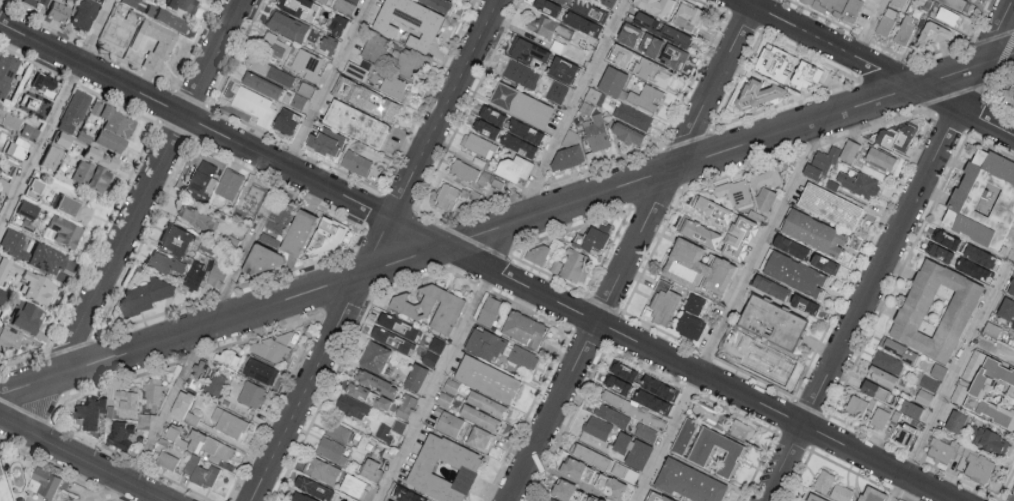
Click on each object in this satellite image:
building: (355, 0)
building: (323, 1)
building: (559, 1)
building: (34, 2)
building: (607, 2)
building: (954, 3)
building: (181, 5)
building: (440, 5)
building: (580, 5)
building: (547, 6)
building: (655, 6)
building: (299, 7)
building: (835, 7)
building: (122, 8)
building: (54, 11)
building: (81, 14)
building: (947, 15)
building: (602, 16)
building: (688, 16)
building: (409, 21)
building: (581, 23)
building: (337, 24)
building: (886, 24)
building: (287, 25)
building: (541, 25)
building: (660, 28)
road: (867, 28)
building: (905, 32)
building: (114, 34)
building: (628, 34)
building: (934, 35)
building: (162, 44)
building: (649, 44)
building: (276, 45)
building: (327, 45)
building: (374, 47)
building: (527, 51)
building: (619, 55)
building: (673, 56)
building: (407, 63)
building: (776, 63)
building: (308, 64)
road: (877, 68)
building: (562, 69)
building: (6, 70)
building: (652, 72)
building: (521, 73)
building: (807, 76)
building: (613, 82)
building: (260, 84)
building: (42, 85)
building: (392, 86)
building: (305, 88)
building: (556, 91)
building: (757, 95)
building: (1010, 97)
building: (366, 99)
building: (644, 99)
building: (298, 101)
building: (254, 104)
building: (520, 104)
building: (36, 107)
building: (95, 109)
building: (72, 111)
road: (57, 117)
building: (633, 117)
building: (3, 118)
building: (286, 120)
building: (117, 123)
building: (355, 123)
building: (486, 128)
building: (515, 132)
building: (597, 135)
building: (628, 135)
building: (896, 137)
building: (58, 140)
building: (23, 141)
building: (108, 141)
building: (325, 143)
building: (480, 145)
building: (850, 152)
building: (569, 153)
building: (48, 158)
building: (98, 159)
building: (881, 160)
building: (355, 162)
building: (821, 164)
building: (7, 168)
building: (515, 170)
building: (465, 172)
building: (203, 177)
building: (90, 178)
building: (766, 180)
building: (229, 183)
building: (859, 183)
building: (3, 186)
building: (31, 189)
building: (736, 194)
building: (251, 198)
building: (453, 198)
building: (984, 201)
building: (831, 208)
building: (27, 210)
building: (71, 210)
building: (723, 214)
building: (197, 217)
road: (140, 218)
road: (506, 225)
building: (704, 229)
building: (61, 232)
building: (815, 233)
building: (300, 234)
building: (329, 235)
building: (347, 236)
building: (597, 238)
building: (174, 239)
building: (12, 244)
building: (789, 246)
building: (942, 246)
building: (741, 249)
road: (375, 250)
road: (501, 250)
road: (634, 251)
road: (890, 252)
building: (538, 255)
building: (978, 255)
building: (42, 260)
building: (262, 261)
road: (475, 262)
building: (165, 263)
building: (823, 263)
road: (239, 264)
building: (7, 267)
building: (575, 268)
building: (697, 268)
building: (796, 274)
building: (194, 276)
building: (218, 276)
building: (769, 287)
building: (33, 288)
building: (1011, 288)
building: (0, 294)
building: (145, 296)
building: (664, 304)
building: (694, 304)
building: (804, 304)
building: (1006, 308)
building: (432, 309)
road: (728, 310)
building: (488, 311)
building: (937, 311)
building: (25, 318)
building: (772, 322)
building: (690, 326)
building: (523, 328)
building: (388, 331)
building: (11, 343)
building: (484, 343)
building: (276, 347)
building: (899, 350)
building: (433, 351)
building: (376, 357)
building: (523, 357)
building: (228, 359)
building: (886, 361)
building: (938, 370)
building: (260, 372)
road: (952, 374)
building: (967, 375)
building: (415, 377)
building: (620, 377)
building: (881, 377)
building: (486, 378)
building: (375, 382)
building: (929, 382)
building: (215, 383)
building: (450, 385)
building: (657, 388)
building: (873, 390)
building: (992, 392)
building: (154, 393)
building: (251, 394)
building: (923, 396)
building: (444, 399)
building: (615, 399)
building: (360, 400)
building: (651, 401)
building: (128, 403)
building: (180, 403)
building: (486, 403)
building: (405, 406)
building: (855, 406)
building: (911, 408)
building: (704, 412)
building: (91, 413)
building: (612, 415)
building: (191, 417)
building: (479, 417)
building: (879, 418)
building: (143, 420)
building: (228, 421)
building: (955, 421)
building: (448, 423)
building: (398, 426)
building: (597, 426)
building: (740, 429)
building: (338, 432)
building: (645, 432)
building: (120, 434)
building: (903, 434)
building: (683, 435)
building: (479, 438)
building: (989, 440)
building: (200, 443)
building: (329, 448)
building: (941, 449)
building: (631, 450)
building: (698, 454)
building: (591, 457)
road: (80, 460)
building: (167, 460)
building: (976, 465)
building: (443, 468)
building: (321, 470)
building: (371, 470)
building: (201, 471)
building: (624, 472)
building: (1, 475)
building: (592, 478)
building: (688, 482)
building: (352, 485)
building: (831, 487)
building: (43, 488)
building: (309, 490)
building: (404, 494)
building: (871, 494)
building: (656, 497)
building: (814, 497)
building: (593, 498)
building: (350, 500)
building: (900, 500)

